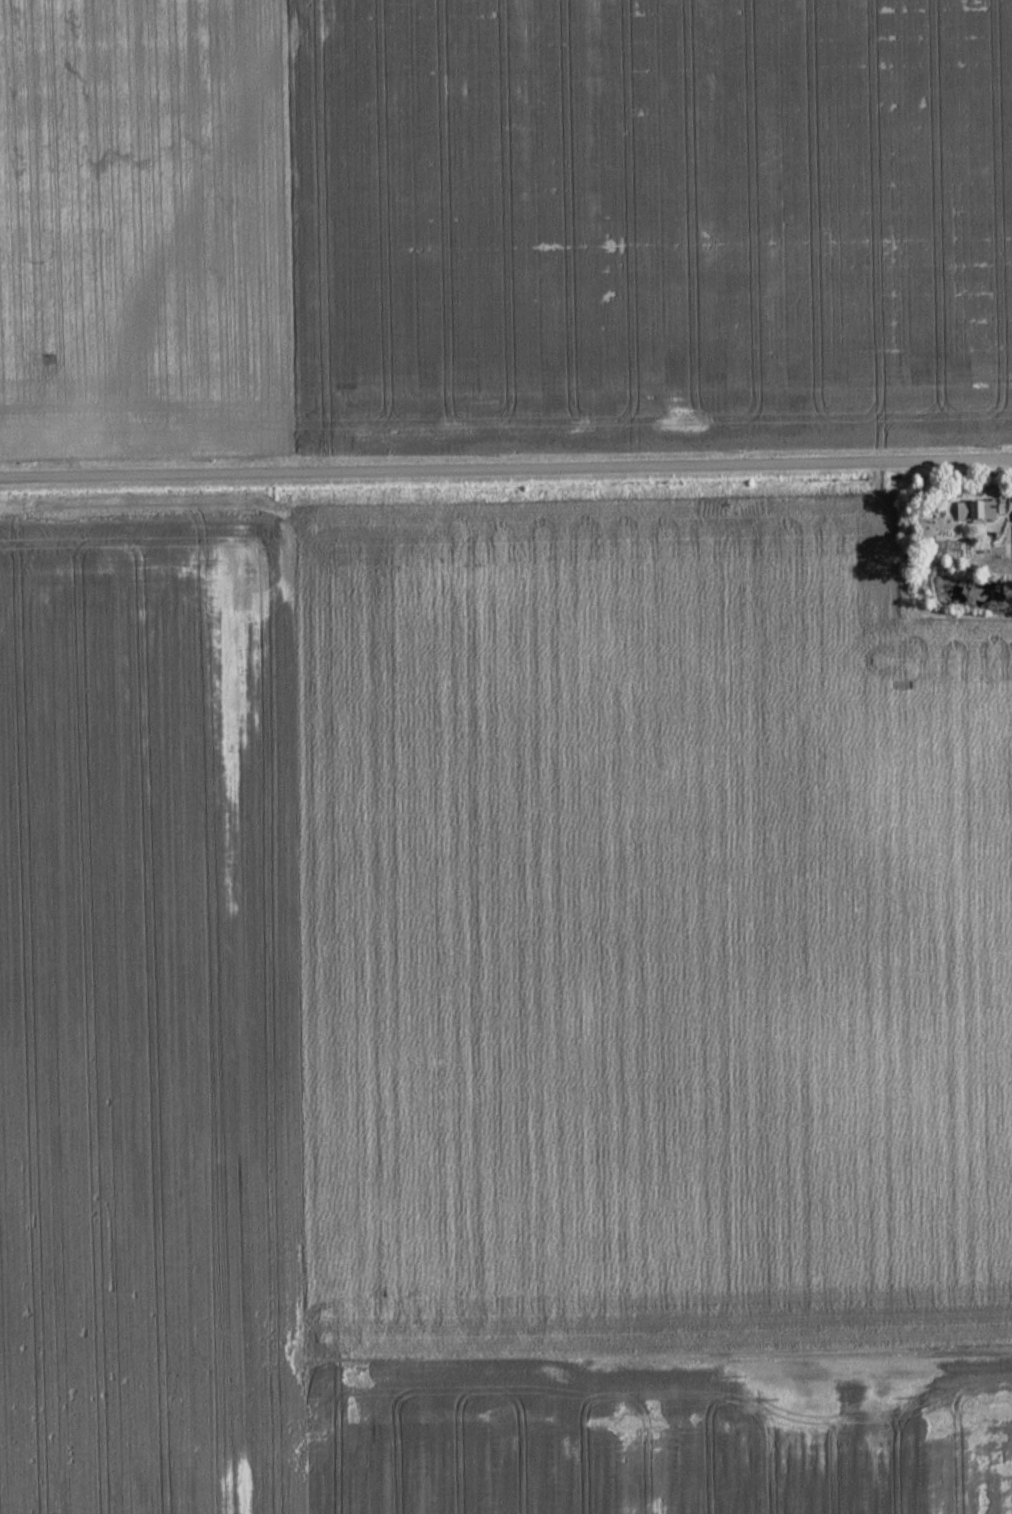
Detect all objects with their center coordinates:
crop: (646, 218)
crop: (142, 223)
road: (506, 469)
crop: (646, 939)
crop: (149, 1007)
crop: (663, 1437)

